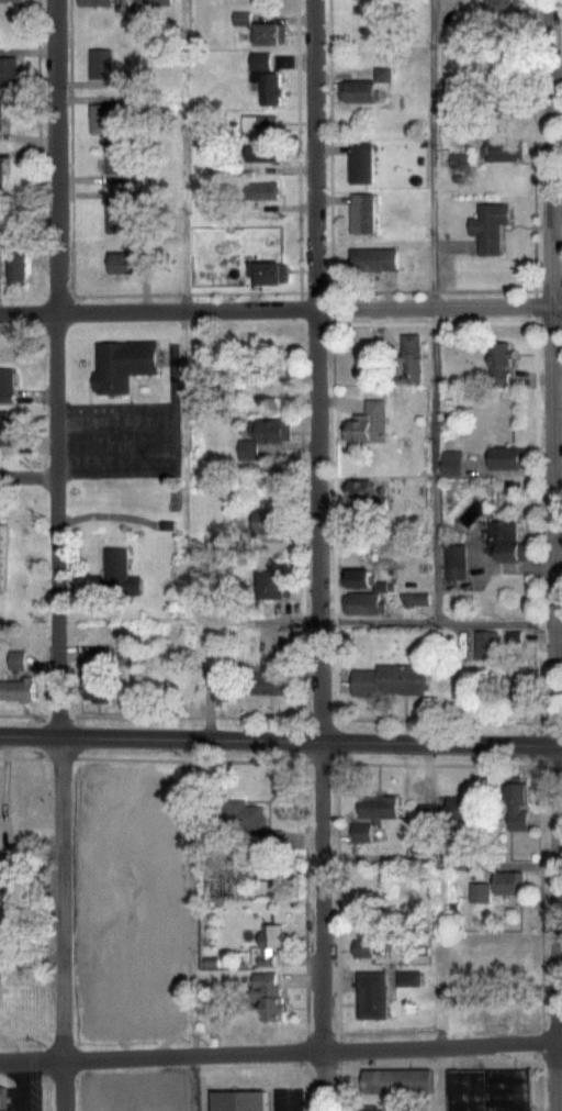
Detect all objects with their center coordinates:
building: (11, 0)
building: (155, 1)
building: (95, 2)
building: (502, 7)
building: (241, 18)
building: (271, 32)
building: (101, 63)
building: (8, 70)
building: (268, 77)
building: (358, 90)
road: (35, 93)
building: (1, 112)
building: (102, 118)
building: (260, 123)
road: (296, 145)
building: (498, 147)
building: (117, 154)
building: (362, 162)
building: (2, 168)
building: (265, 182)
building: (363, 212)
building: (119, 214)
building: (492, 225)
building: (375, 258)
building: (16, 260)
building: (125, 262)
building: (270, 271)
road: (168, 292)
road: (280, 308)
road: (435, 310)
building: (412, 356)
road: (328, 358)
road: (532, 359)
building: (120, 362)
building: (502, 362)
building: (7, 384)
building: (369, 422)
building: (7, 427)
parking lot: (123, 433)
building: (263, 437)
road: (175, 438)
building: (509, 456)
building: (453, 463)
road: (29, 476)
building: (361, 489)
road: (186, 496)
building: (273, 520)
building: (356, 527)
building: (507, 541)
building: (0, 543)
road: (57, 555)
road: (316, 555)
road: (552, 555)
building: (456, 560)
building: (120, 571)
building: (277, 585)
building: (367, 591)
building: (514, 640)
building: (18, 658)
building: (98, 675)
building: (392, 679)
building: (267, 682)
building: (519, 686)
building: (225, 687)
building: (18, 689)
road: (281, 716)
road: (280, 740)
road: (281, 758)
building: (518, 802)
building: (379, 807)
building: (450, 811)
building: (252, 820)
building: (361, 831)
road: (442, 864)
building: (137, 869)
building: (510, 881)
building: (480, 891)
road: (193, 924)
building: (268, 944)
building: (370, 945)
road: (441, 955)
building: (411, 977)
building: (372, 993)
building: (269, 996)
road: (280, 1051)
building: (398, 1080)
road: (24, 1085)
building: (492, 1089)
building: (2, 1099)
building: (240, 1100)
building: (379, 1110)

